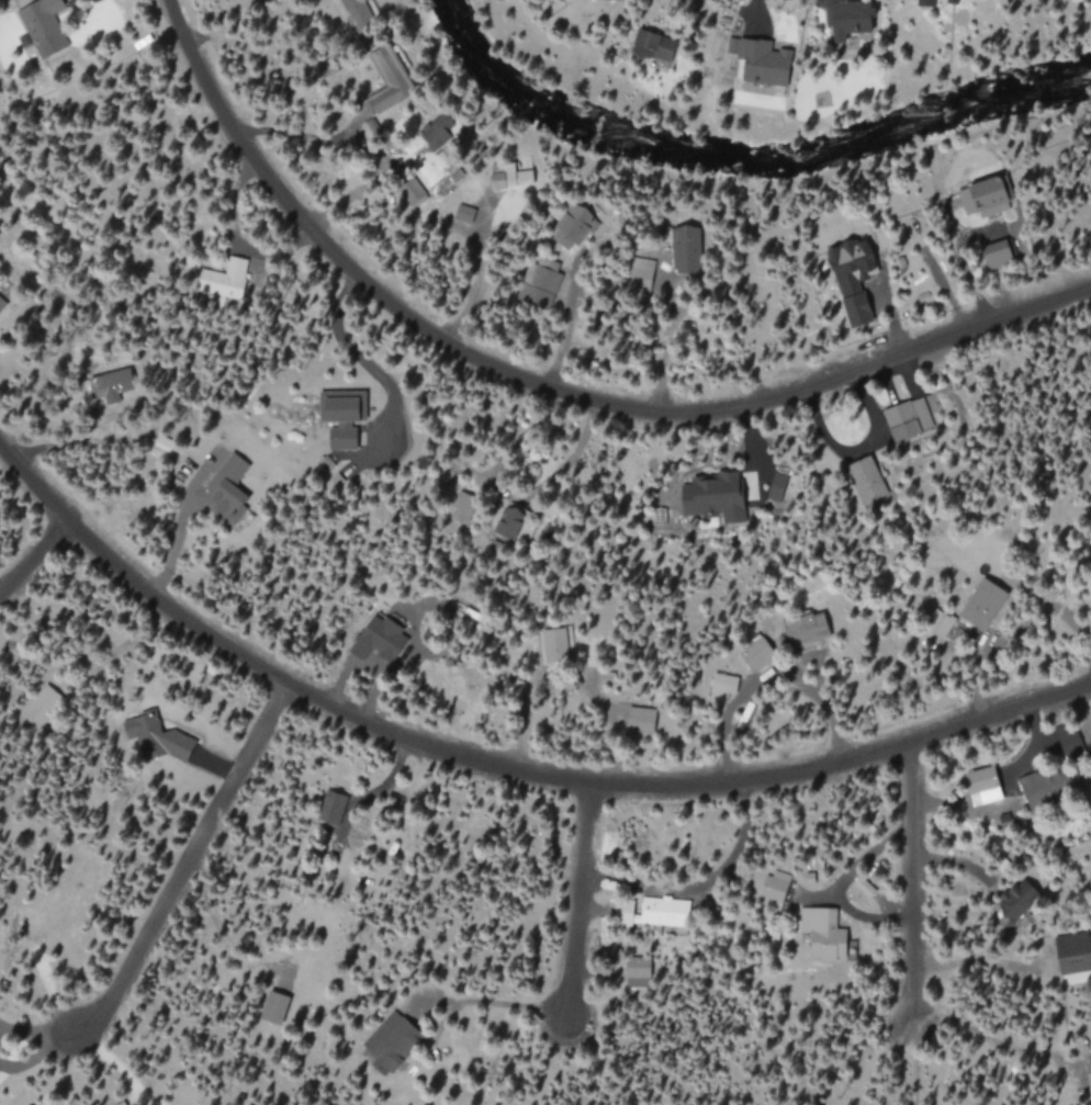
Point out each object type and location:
building: (923, 2)
building: (848, 19)
building: (41, 29)
building: (654, 45)
building: (764, 60)
building: (390, 77)
building: (438, 128)
river: (741, 168)
building: (513, 176)
building: (986, 196)
building: (573, 226)
building: (687, 248)
building: (998, 253)
building: (853, 262)
building: (545, 274)
building: (1, 303)
building: (858, 308)
road: (363, 360)
building: (109, 385)
road: (550, 388)
building: (341, 417)
building: (908, 418)
building: (867, 477)
building: (228, 487)
building: (712, 498)
road: (34, 560)
building: (982, 604)
building: (938, 625)
building: (808, 629)
building: (379, 639)
building: (758, 654)
building: (723, 686)
building: (642, 719)
building: (157, 737)
road: (499, 768)
building: (985, 785)
building: (1041, 788)
building: (333, 807)
road: (187, 865)
building: (776, 884)
road: (911, 888)
building: (1019, 900)
road: (580, 903)
building: (664, 911)
building: (824, 933)
building: (1076, 968)
building: (274, 1007)
building: (391, 1042)

